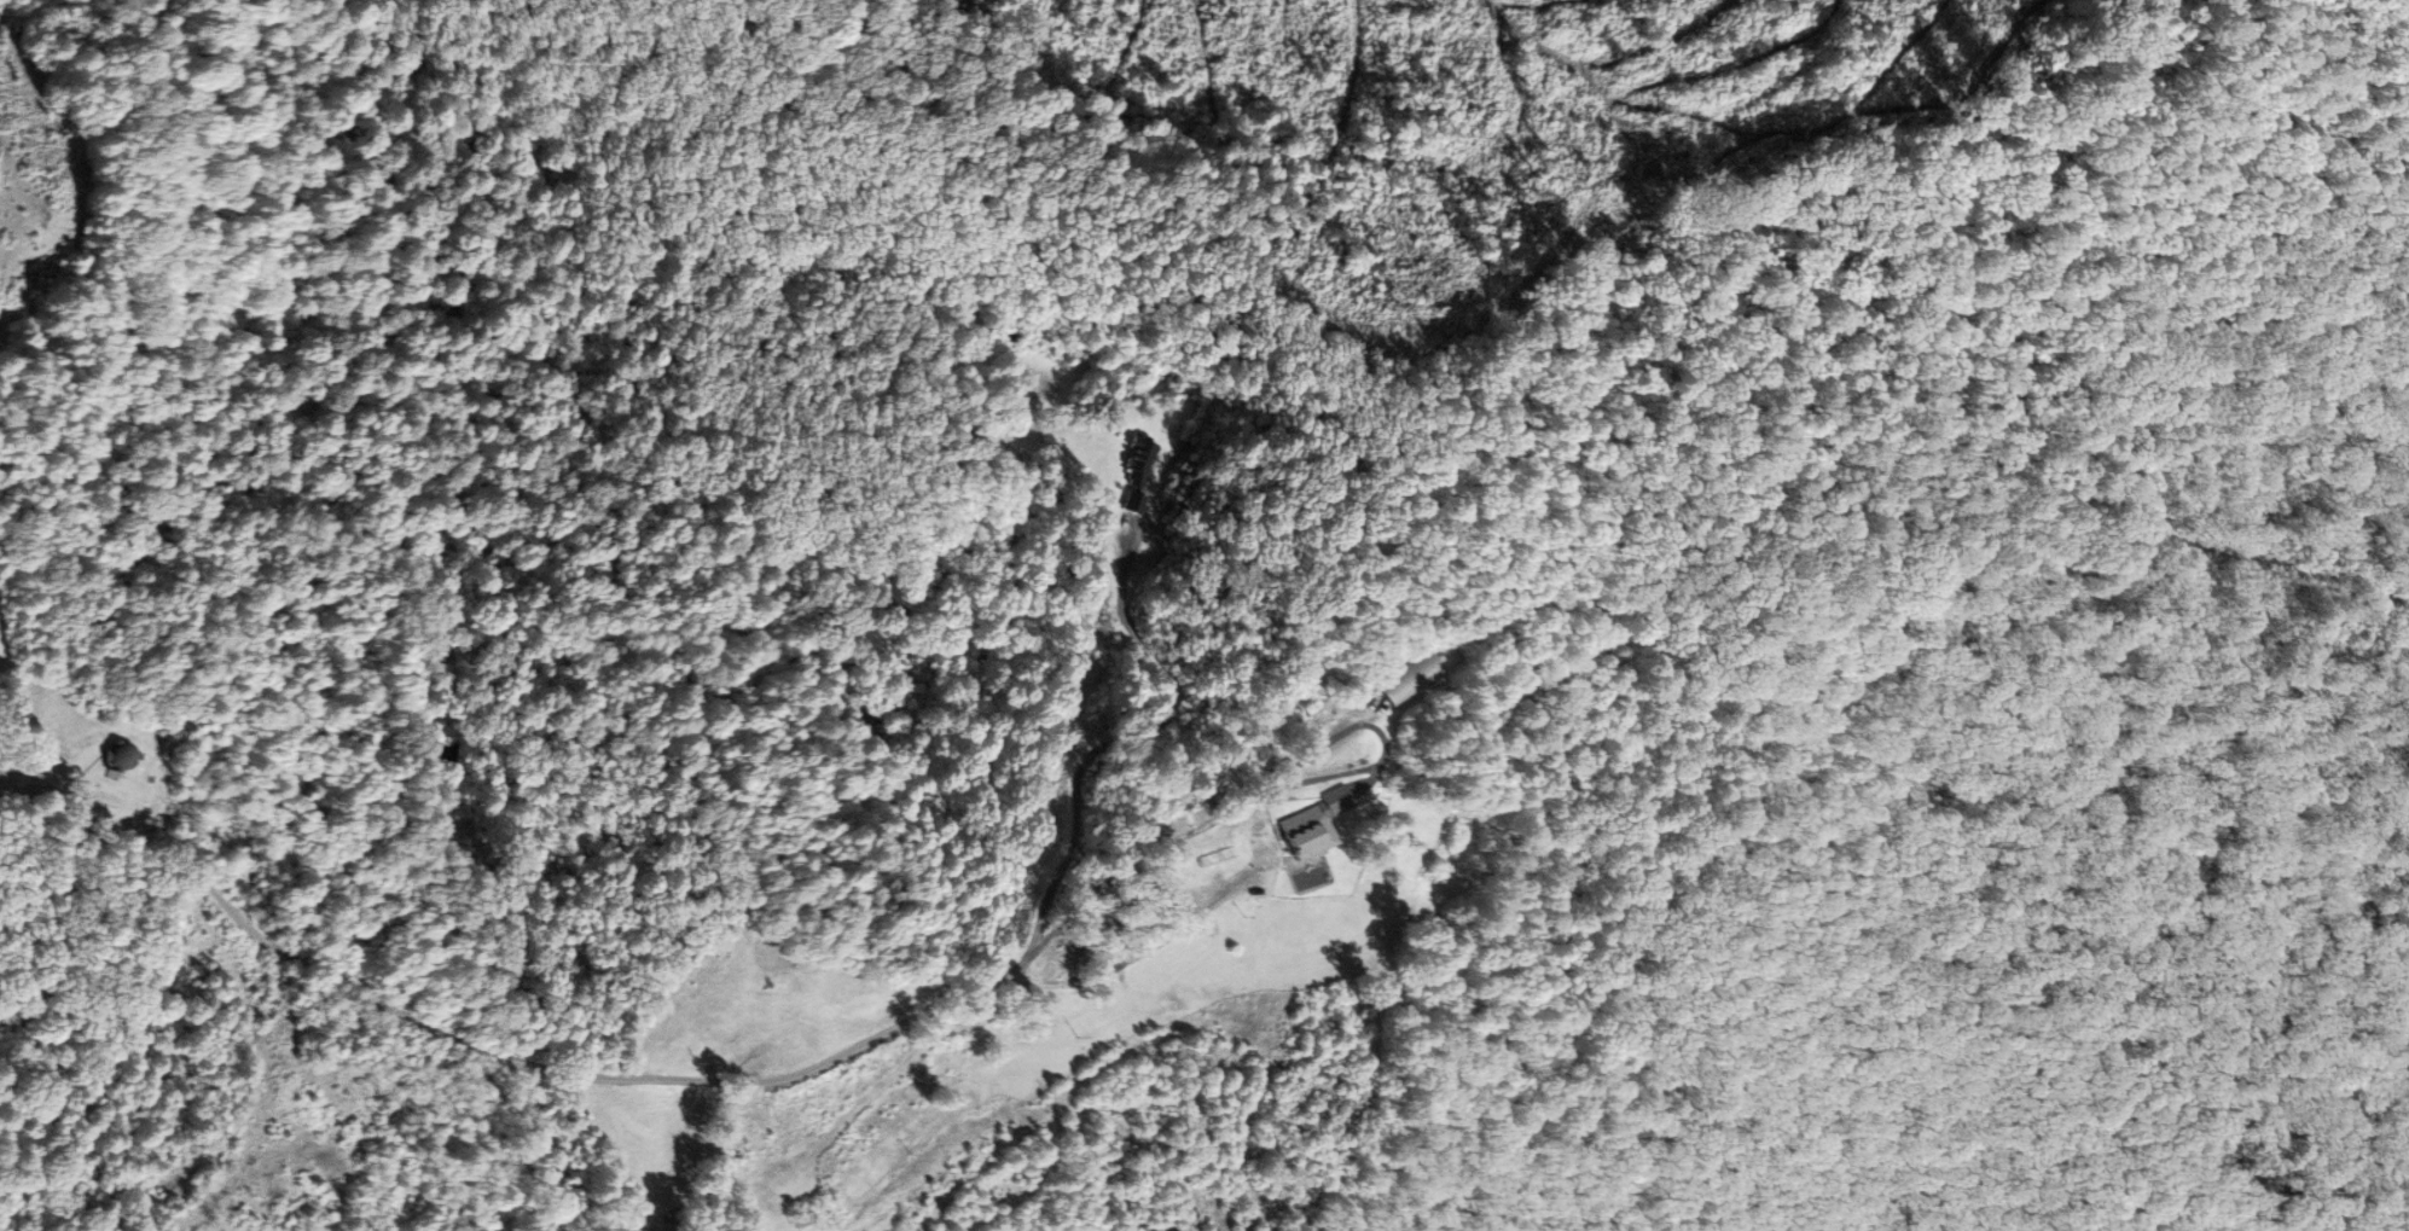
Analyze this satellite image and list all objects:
building: (1134, 475)
building: (1406, 678)
building: (114, 755)
building: (1306, 823)
road: (341, 982)

